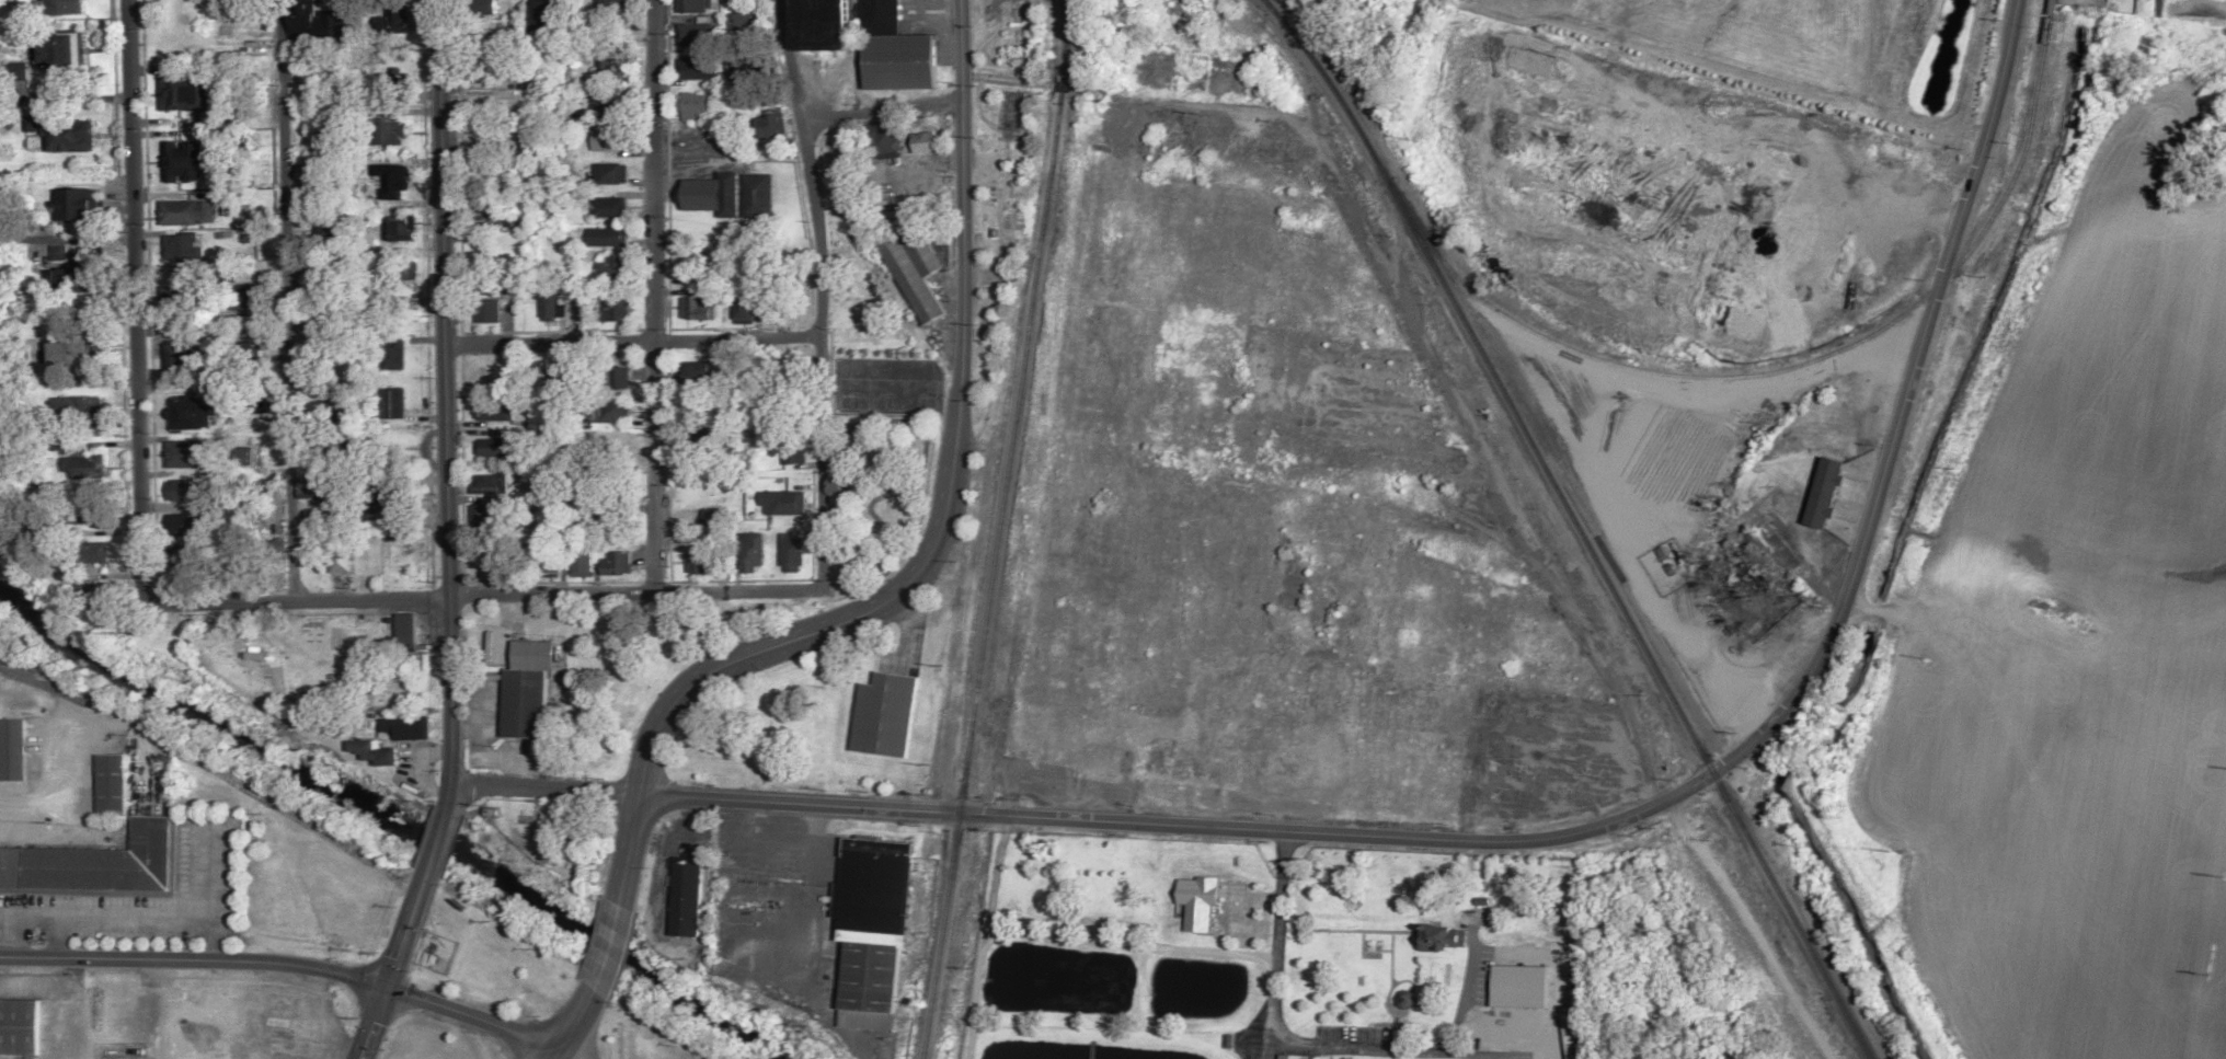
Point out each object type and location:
building: (1278, 2)
road: (1610, 4)
building: (2113, 4)
building: (690, 5)
building: (57, 7)
building: (608, 11)
building: (390, 19)
building: (301, 23)
building: (818, 24)
building: (543, 28)
building: (689, 35)
railway: (1058, 39)
building: (180, 43)
building: (62, 50)
building: (891, 50)
building: (758, 67)
building: (692, 69)
building: (479, 70)
building: (608, 70)
road: (998, 79)
building: (317, 89)
building: (184, 92)
building: (695, 105)
building: (600, 106)
road: (874, 111)
building: (766, 123)
building: (389, 133)
building: (69, 134)
road: (1467, 135)
building: (900, 138)
building: (606, 140)
building: (185, 161)
building: (608, 173)
building: (390, 179)
building: (1653, 194)
building: (709, 195)
road: (67, 196)
building: (753, 196)
building: (78, 204)
building: (484, 207)
building: (607, 208)
building: (187, 212)
road: (1900, 220)
building: (397, 231)
road: (956, 231)
building: (605, 238)
building: (183, 248)
building: (615, 266)
building: (398, 270)
building: (913, 273)
road: (136, 286)
building: (498, 287)
road: (814, 292)
road: (652, 295)
building: (249, 297)
building: (187, 299)
road: (288, 299)
building: (546, 303)
building: (696, 308)
building: (613, 310)
building: (484, 311)
road: (628, 343)
building: (73, 347)
building: (392, 354)
building: (186, 359)
railway: (1820, 362)
building: (613, 377)
road: (1905, 396)
building: (393, 402)
building: (81, 408)
building: (494, 410)
road: (443, 411)
building: (610, 412)
building: (185, 413)
building: (494, 447)
building: (792, 451)
building: (187, 453)
building: (89, 465)
building: (490, 482)
building: (187, 490)
building: (1824, 492)
building: (394, 498)
building: (782, 502)
building: (616, 515)
building: (713, 516)
building: (97, 517)
building: (489, 518)
building: (186, 523)
railway: (1576, 523)
railway: (996, 529)
road: (944, 533)
building: (94, 552)
building: (749, 552)
building: (791, 553)
building: (340, 554)
building: (582, 560)
building: (551, 562)
building: (699, 562)
building: (617, 563)
road: (472, 596)
building: (408, 629)
building: (495, 647)
road: (688, 688)
building: (526, 703)
building: (885, 715)
building: (412, 727)
building: (368, 749)
building: (12, 750)
road: (58, 783)
building: (110, 785)
river: (393, 820)
road: (1100, 824)
road: (429, 861)
building: (97, 863)
building: (696, 898)
road: (215, 905)
road: (107, 919)
road: (1755, 926)
building: (873, 930)
building: (1443, 936)
road: (15, 937)
road: (61, 937)
road: (400, 944)
road: (1280, 946)
road: (608, 948)
aquafarm: (1282, 953)
road: (285, 963)
traffic signals: (385, 989)
road: (172, 1009)
road: (371, 1024)
road: (573, 1025)
building: (19, 1026)
road: (1453, 1029)
building: (1577, 1032)
building: (1295, 1057)

